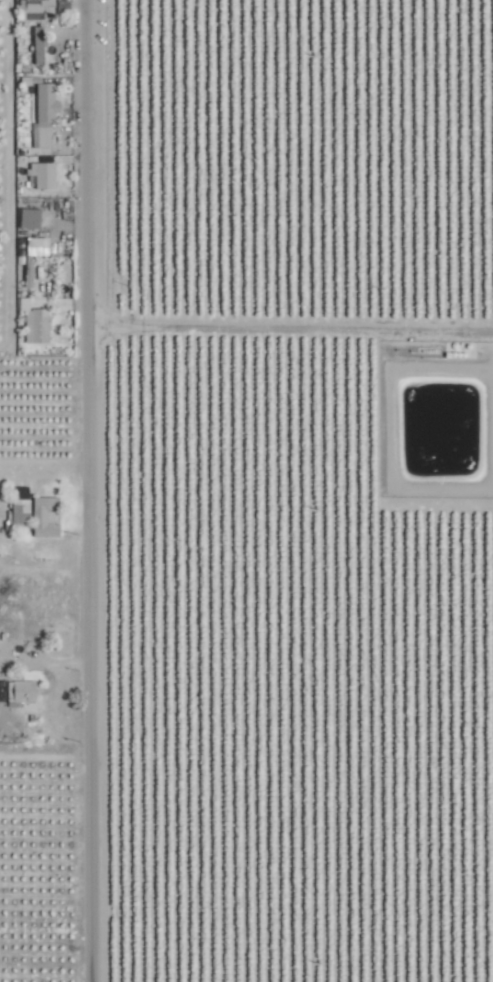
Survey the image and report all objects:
building: (43, 115)
building: (42, 176)
building: (26, 218)
building: (35, 247)
building: (27, 278)
road: (290, 328)
road: (89, 490)
crop: (246, 491)
building: (19, 510)
building: (43, 516)
road: (45, 663)
building: (19, 690)

